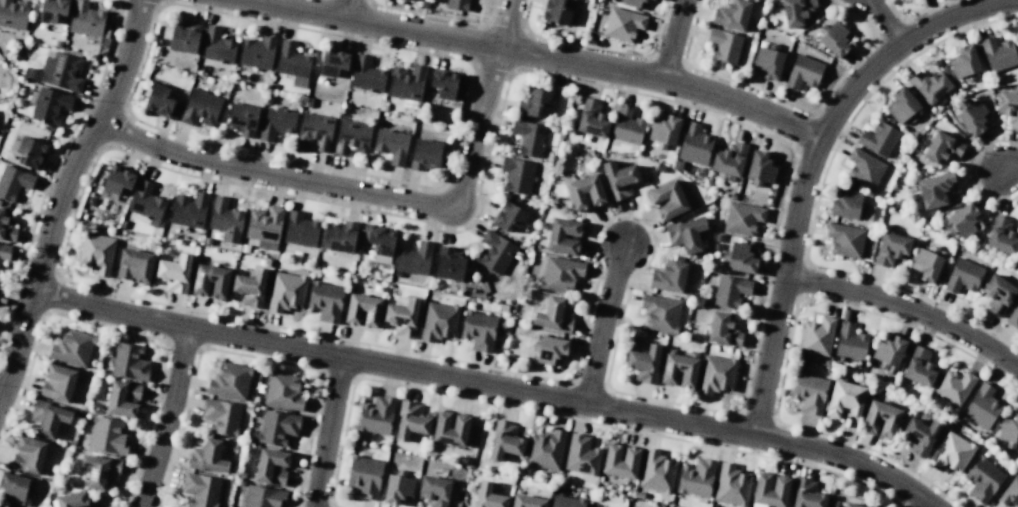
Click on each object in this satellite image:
building: (412, 0)
building: (634, 3)
building: (457, 4)
road: (350, 9)
building: (52, 10)
building: (557, 11)
building: (796, 11)
building: (13, 14)
building: (731, 15)
building: (85, 19)
road: (887, 19)
road: (511, 24)
building: (623, 24)
building: (183, 37)
road: (673, 38)
building: (834, 39)
building: (723, 45)
building: (216, 46)
building: (257, 52)
building: (997, 54)
road: (540, 55)
building: (964, 61)
building: (333, 62)
building: (768, 62)
building: (292, 64)
building: (59, 72)
building: (803, 72)
building: (366, 75)
building: (406, 82)
building: (442, 84)
building: (929, 85)
building: (160, 101)
building: (533, 104)
building: (901, 105)
building: (50, 106)
building: (1008, 107)
building: (200, 108)
building: (972, 117)
building: (241, 119)
building: (591, 119)
building: (275, 123)
building: (626, 126)
building: (664, 129)
building: (315, 131)
building: (528, 137)
building: (351, 138)
building: (878, 139)
building: (694, 144)
building: (391, 145)
building: (942, 148)
building: (30, 152)
building: (424, 155)
building: (729, 159)
road: (1008, 167)
building: (759, 168)
building: (864, 169)
building: (516, 174)
road: (808, 175)
building: (619, 179)
building: (117, 180)
building: (13, 182)
building: (935, 190)
road: (62, 192)
building: (584, 192)
road: (354, 194)
building: (667, 200)
building: (146, 203)
building: (189, 210)
building: (508, 216)
building: (742, 218)
building: (225, 220)
building: (963, 220)
building: (6, 227)
building: (264, 227)
building: (299, 229)
building: (685, 234)
building: (563, 236)
building: (1001, 236)
building: (340, 237)
building: (379, 239)
building: (844, 240)
building: (891, 248)
building: (494, 252)
building: (96, 253)
building: (740, 258)
building: (413, 259)
building: (448, 264)
building: (134, 265)
building: (926, 265)
building: (174, 273)
building: (559, 274)
building: (962, 276)
building: (668, 277)
building: (210, 281)
building: (250, 287)
building: (730, 291)
building: (286, 292)
building: (997, 294)
building: (325, 301)
road: (908, 307)
building: (362, 310)
building: (660, 313)
building: (553, 315)
building: (402, 317)
building: (1013, 317)
building: (438, 321)
road: (606, 326)
building: (478, 330)
building: (723, 330)
building: (817, 337)
building: (849, 342)
building: (72, 348)
building: (549, 350)
building: (888, 353)
building: (128, 362)
building: (643, 363)
building: (919, 367)
building: (678, 370)
building: (716, 374)
building: (229, 381)
building: (57, 383)
road: (486, 387)
building: (954, 387)
building: (282, 391)
building: (809, 392)
building: (123, 399)
building: (844, 399)
building: (981, 406)
building: (221, 416)
building: (376, 416)
building: (48, 418)
road: (167, 418)
building: (880, 419)
building: (410, 421)
building: (277, 427)
building: (450, 428)
building: (1008, 429)
road: (334, 433)
building: (920, 435)
building: (106, 436)
building: (504, 441)
building: (545, 450)
building: (950, 453)
building: (27, 455)
building: (581, 455)
building: (207, 456)
building: (620, 461)
building: (271, 466)
building: (99, 470)
building: (656, 472)
building: (364, 475)
building: (696, 478)
building: (982, 479)
building: (731, 486)
building: (14, 488)
building: (397, 488)
building: (200, 489)
building: (434, 490)
building: (770, 490)
building: (1010, 493)
building: (806, 494)
building: (488, 496)
building: (262, 497)
building: (71, 500)
building: (527, 501)
building: (565, 501)
building: (849, 504)

